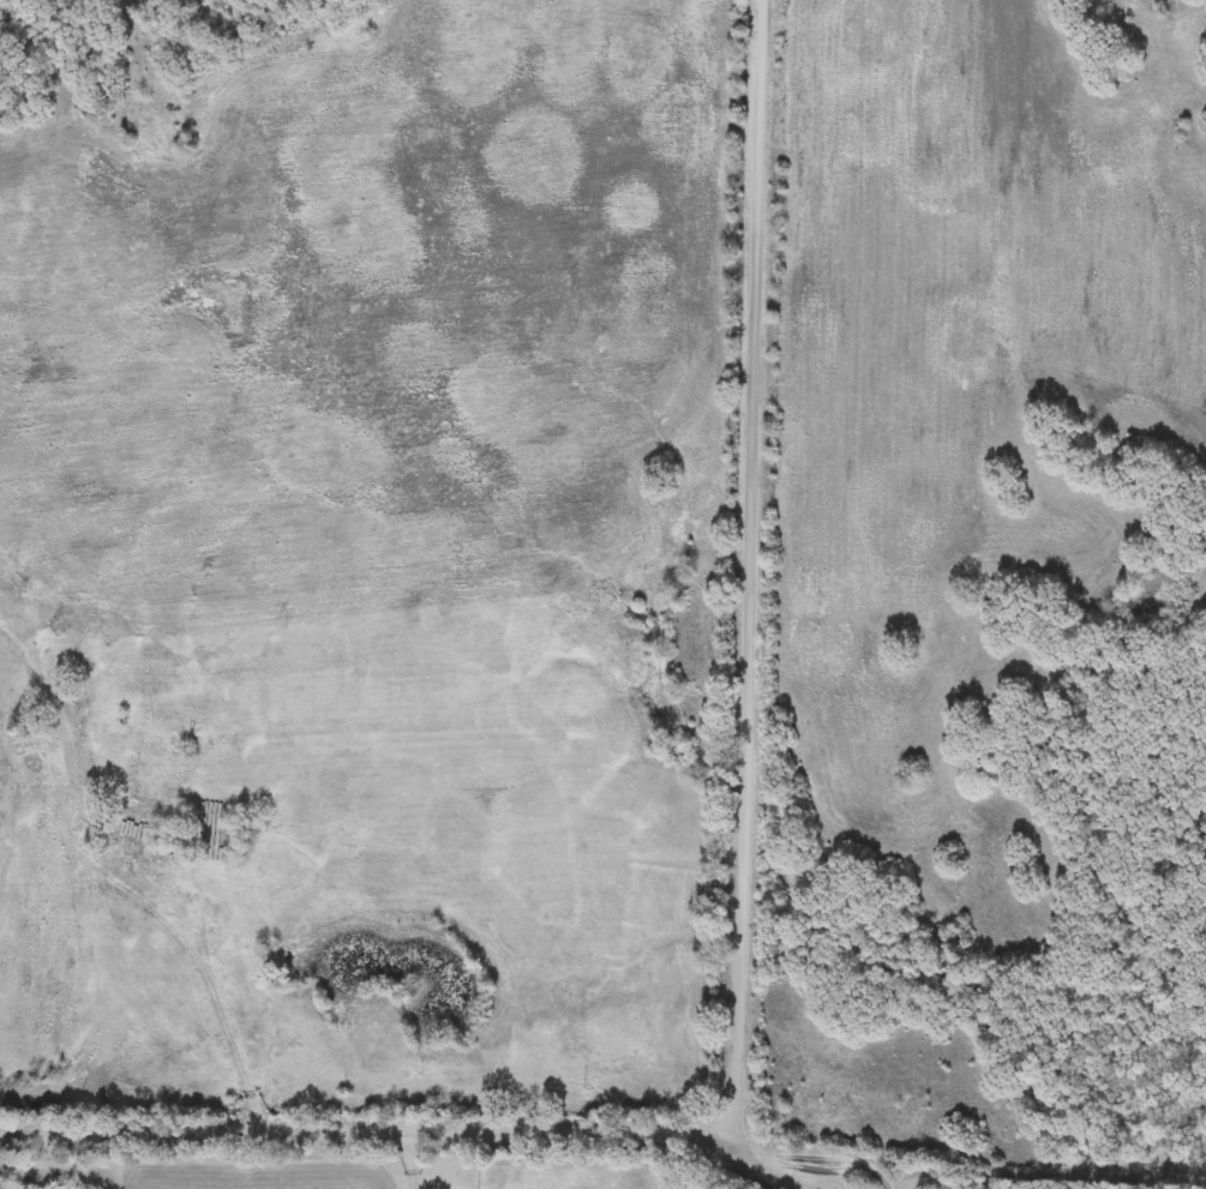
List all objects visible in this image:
road: (751, 578)
road: (223, 1004)
road: (403, 1130)
road: (409, 1159)

